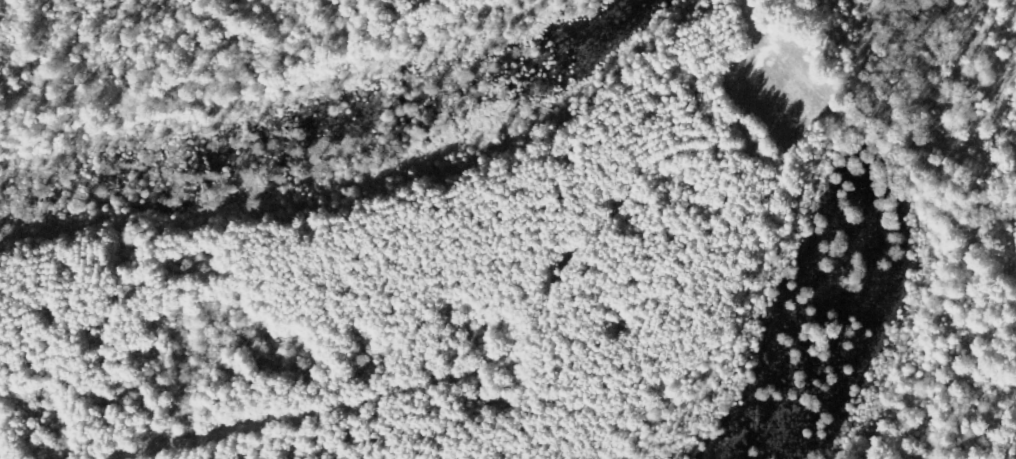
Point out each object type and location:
road: (889, 114)

